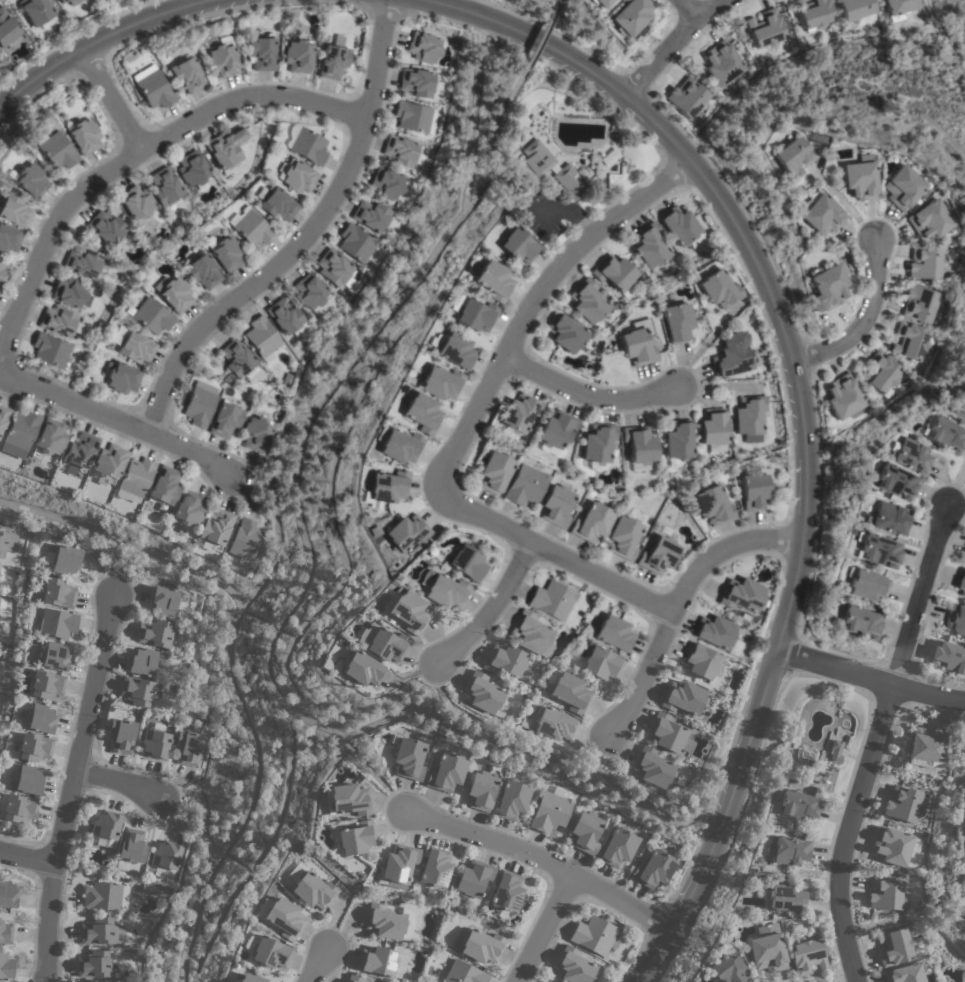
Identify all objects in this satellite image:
road: (557, 0)
building: (60, 1)
building: (599, 2)
building: (899, 8)
road: (686, 9)
building: (854, 9)
building: (34, 11)
building: (813, 14)
building: (631, 17)
building: (6, 28)
building: (764, 30)
road: (540, 35)
road: (96, 40)
road: (675, 40)
building: (423, 48)
building: (260, 52)
building: (297, 56)
building: (221, 60)
building: (332, 62)
building: (721, 63)
building: (185, 74)
building: (419, 83)
building: (151, 88)
road: (108, 98)
building: (686, 98)
building: (413, 117)
building: (83, 137)
building: (307, 146)
building: (54, 150)
building: (226, 150)
road: (132, 151)
building: (401, 151)
building: (790, 157)
building: (192, 169)
building: (552, 169)
building: (296, 177)
building: (859, 178)
building: (30, 180)
building: (386, 183)
building: (164, 187)
building: (903, 187)
road: (463, 195)
building: (275, 204)
building: (136, 205)
road: (846, 209)
building: (14, 211)
building: (371, 216)
building: (819, 216)
building: (930, 220)
building: (678, 225)
building: (105, 228)
building: (251, 229)
road: (303, 237)
building: (8, 239)
building: (356, 244)
building: (518, 246)
building: (649, 246)
building: (226, 254)
building: (82, 263)
building: (925, 263)
building: (333, 268)
building: (1, 271)
building: (202, 271)
building: (615, 274)
building: (493, 281)
building: (826, 288)
building: (718, 289)
building: (69, 292)
building: (173, 294)
building: (314, 295)
building: (587, 301)
building: (920, 304)
building: (471, 314)
road: (386, 316)
building: (151, 317)
building: (286, 318)
building: (58, 321)
building: (676, 322)
road: (861, 324)
building: (565, 333)
building: (261, 337)
building: (911, 341)
building: (637, 343)
building: (135, 347)
building: (50, 350)
building: (454, 351)
building: (731, 355)
building: (237, 362)
building: (881, 373)
building: (121, 379)
building: (439, 383)
building: (843, 396)
road: (595, 397)
building: (199, 404)
building: (420, 413)
building: (519, 413)
road: (805, 415)
building: (749, 416)
building: (3, 417)
road: (116, 419)
building: (225, 419)
road: (473, 420)
building: (713, 428)
building: (557, 430)
building: (20, 433)
building: (255, 434)
building: (507, 434)
building: (946, 434)
building: (49, 438)
building: (678, 440)
building: (598, 443)
building: (397, 445)
building: (639, 445)
building: (80, 451)
building: (909, 455)
building: (109, 462)
building: (494, 472)
building: (136, 476)
building: (893, 481)
road: (251, 483)
building: (163, 486)
building: (525, 486)
building: (385, 489)
building: (752, 491)
road: (270, 504)
building: (556, 505)
building: (712, 506)
building: (188, 509)
building: (888, 519)
building: (591, 523)
building: (216, 528)
building: (406, 533)
building: (623, 538)
building: (245, 539)
road: (125, 542)
building: (7, 543)
building: (876, 550)
building: (658, 555)
building: (63, 558)
building: (964, 558)
building: (466, 563)
road: (114, 564)
building: (961, 582)
building: (866, 585)
building: (442, 590)
building: (57, 592)
building: (741, 595)
building: (164, 600)
building: (551, 600)
building: (180, 604)
road: (674, 604)
road: (488, 609)
building: (409, 612)
building: (955, 619)
building: (56, 622)
building: (860, 622)
building: (714, 632)
building: (155, 633)
building: (532, 634)
building: (613, 634)
building: (384, 642)
building: (949, 655)
building: (55, 656)
building: (505, 659)
building: (143, 661)
building: (701, 661)
building: (601, 663)
building: (363, 668)
road: (868, 680)
building: (46, 684)
building: (137, 690)
building: (570, 692)
building: (484, 694)
building: (683, 697)
road: (457, 710)
building: (41, 719)
building: (554, 723)
road: (362, 728)
building: (666, 732)
building: (121, 735)
building: (155, 741)
road: (873, 742)
building: (926, 743)
building: (34, 746)
building: (188, 747)
building: (835, 751)
road: (599, 753)
building: (409, 757)
building: (652, 767)
building: (447, 772)
road: (373, 776)
building: (28, 780)
road: (119, 785)
road: (70, 786)
building: (481, 790)
road: (250, 795)
building: (349, 799)
building: (512, 799)
building: (903, 803)
building: (798, 804)
building: (17, 807)
road: (200, 809)
building: (550, 811)
building: (106, 826)
building: (964, 828)
building: (586, 831)
building: (356, 837)
building: (892, 844)
building: (132, 846)
building: (618, 847)
building: (788, 850)
road: (25, 858)
building: (165, 858)
road: (545, 860)
building: (399, 865)
building: (434, 868)
building: (654, 868)
building: (473, 878)
building: (154, 889)
building: (313, 889)
building: (506, 892)
building: (886, 892)
building: (8, 894)
building: (105, 896)
building: (783, 897)
building: (284, 917)
road: (913, 917)
building: (389, 921)
road: (542, 927)
building: (101, 931)
building: (5, 932)
building: (595, 935)
building: (478, 944)
building: (894, 946)
building: (270, 952)
building: (767, 952)
building: (807, 955)
building: (378, 960)
building: (94, 964)
building: (6, 965)
building: (573, 965)
road: (315, 968)
building: (728, 970)
building: (464, 973)
building: (904, 973)
building: (251, 978)
building: (354, 978)
building: (546, 980)
building: (98, 981)
building: (962, 981)

